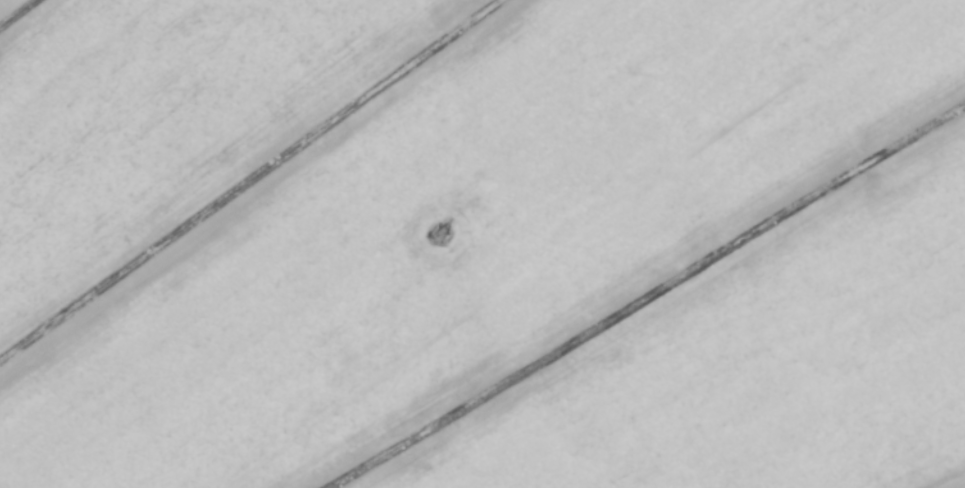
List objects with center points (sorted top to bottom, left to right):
power tower: (442, 234)

